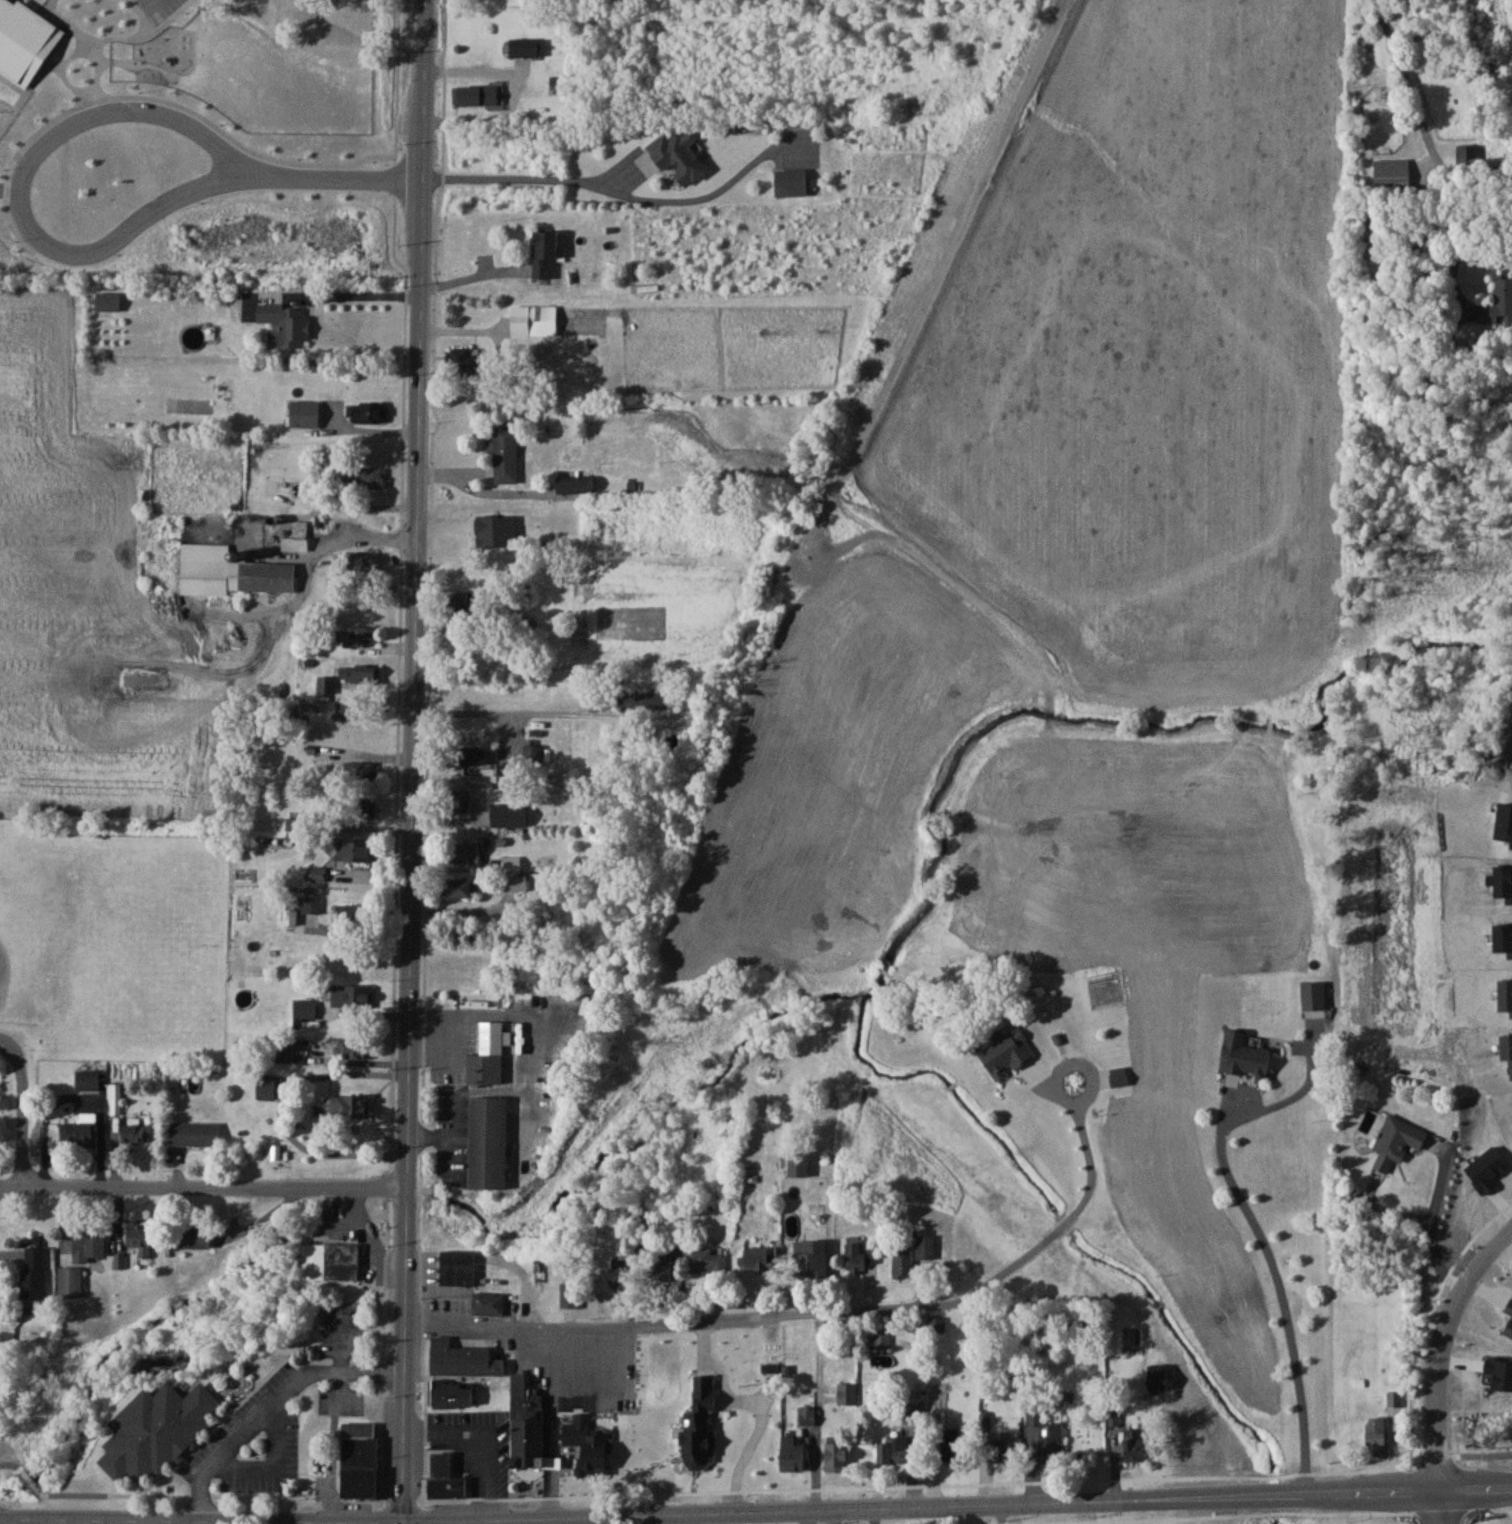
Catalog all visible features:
road: (154, 3)
road: (141, 4)
building: (523, 48)
road: (517, 93)
building: (477, 96)
building: (1470, 153)
road: (1436, 155)
building: (678, 157)
building: (1392, 169)
road: (345, 176)
road: (532, 178)
building: (792, 183)
road: (8, 194)
building: (545, 253)
road: (471, 277)
road: (363, 294)
building: (108, 301)
building: (1498, 304)
building: (534, 320)
building: (285, 324)
building: (513, 354)
building: (465, 358)
building: (366, 412)
building: (304, 414)
building: (504, 453)
building: (333, 465)
building: (369, 478)
building: (575, 485)
building: (295, 534)
building: (360, 563)
building: (229, 571)
building: (461, 602)
building: (355, 637)
building: (358, 673)
building: (325, 684)
building: (644, 698)
road: (513, 709)
road: (398, 749)
building: (532, 753)
building: (468, 755)
road: (412, 762)
building: (359, 771)
building: (460, 802)
building: (359, 808)
building: (508, 815)
building: (301, 822)
building: (355, 850)
building: (464, 852)
building: (511, 864)
building: (318, 873)
building: (513, 884)
building: (462, 887)
building: (310, 904)
building: (290, 917)
building: (352, 996)
building: (1313, 996)
building: (305, 1008)
building: (353, 1048)
road: (525, 1049)
building: (1007, 1051)
building: (1244, 1055)
building: (488, 1056)
building: (88, 1080)
building: (265, 1091)
building: (114, 1099)
building: (349, 1106)
road: (22, 1107)
road: (279, 1109)
building: (83, 1131)
building: (135, 1131)
building: (195, 1133)
road: (450, 1135)
building: (1399, 1137)
building: (489, 1142)
road: (202, 1184)
road: (1085, 1192)
road: (1432, 1227)
building: (194, 1236)
building: (140, 1238)
building: (88, 1245)
building: (926, 1246)
building: (859, 1256)
building: (761, 1257)
building: (330, 1260)
building: (705, 1260)
building: (808, 1260)
building: (902, 1263)
building: (664, 1266)
building: (456, 1267)
building: (33, 1271)
building: (621, 1275)
building: (70, 1282)
building: (569, 1294)
road: (1280, 1297)
building: (488, 1302)
road: (658, 1322)
building: (937, 1323)
building: (881, 1340)
building: (463, 1359)
road: (1448, 1360)
building: (1159, 1377)
building: (847, 1393)
building: (453, 1394)
building: (1394, 1398)
road: (272, 1406)
building: (808, 1416)
building: (154, 1423)
building: (528, 1424)
building: (1043, 1434)
building: (1376, 1435)
parking lot: (257, 1436)
road: (476, 1442)
building: (1134, 1443)
building: (953, 1445)
building: (1001, 1448)
building: (892, 1449)
building: (590, 1450)
building: (793, 1454)
building: (837, 1454)
building: (359, 1459)
road: (9, 1465)
building: (445, 1478)
road: (31, 1479)
road: (395, 1498)
road: (423, 1509)
road: (756, 1510)
road: (1442, 1511)
road: (871, 1515)
road: (829, 1516)
road: (650, 1518)
road: (589, 1519)
road: (6, 1520)
road: (130, 1521)
road: (176, 1521)
road: (472, 1521)

